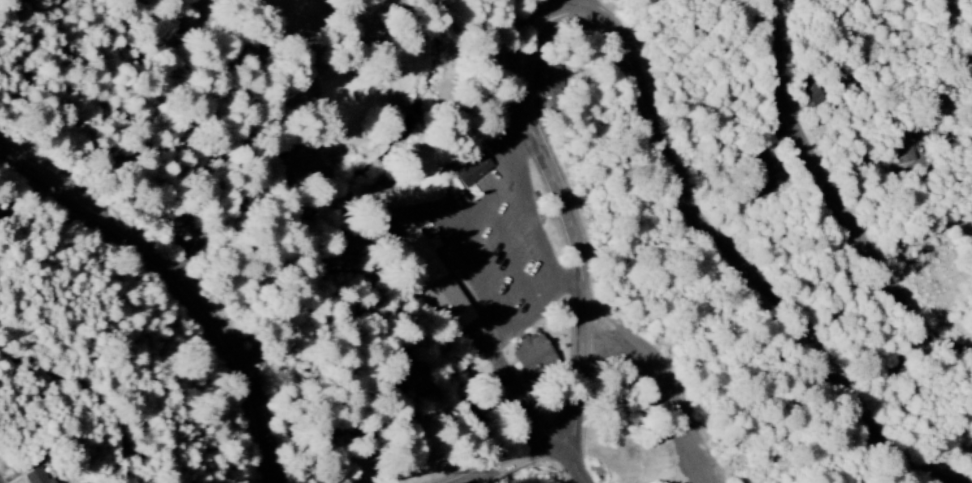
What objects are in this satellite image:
road: (577, 5)
building: (550, 82)
building: (812, 92)
building: (472, 170)
park: (258, 177)
road: (836, 193)
building: (167, 227)
road: (475, 244)
road: (744, 264)
road: (184, 281)
building: (438, 284)
building: (533, 356)
building: (407, 382)
road: (522, 463)
building: (37, 477)
road: (0, 481)

